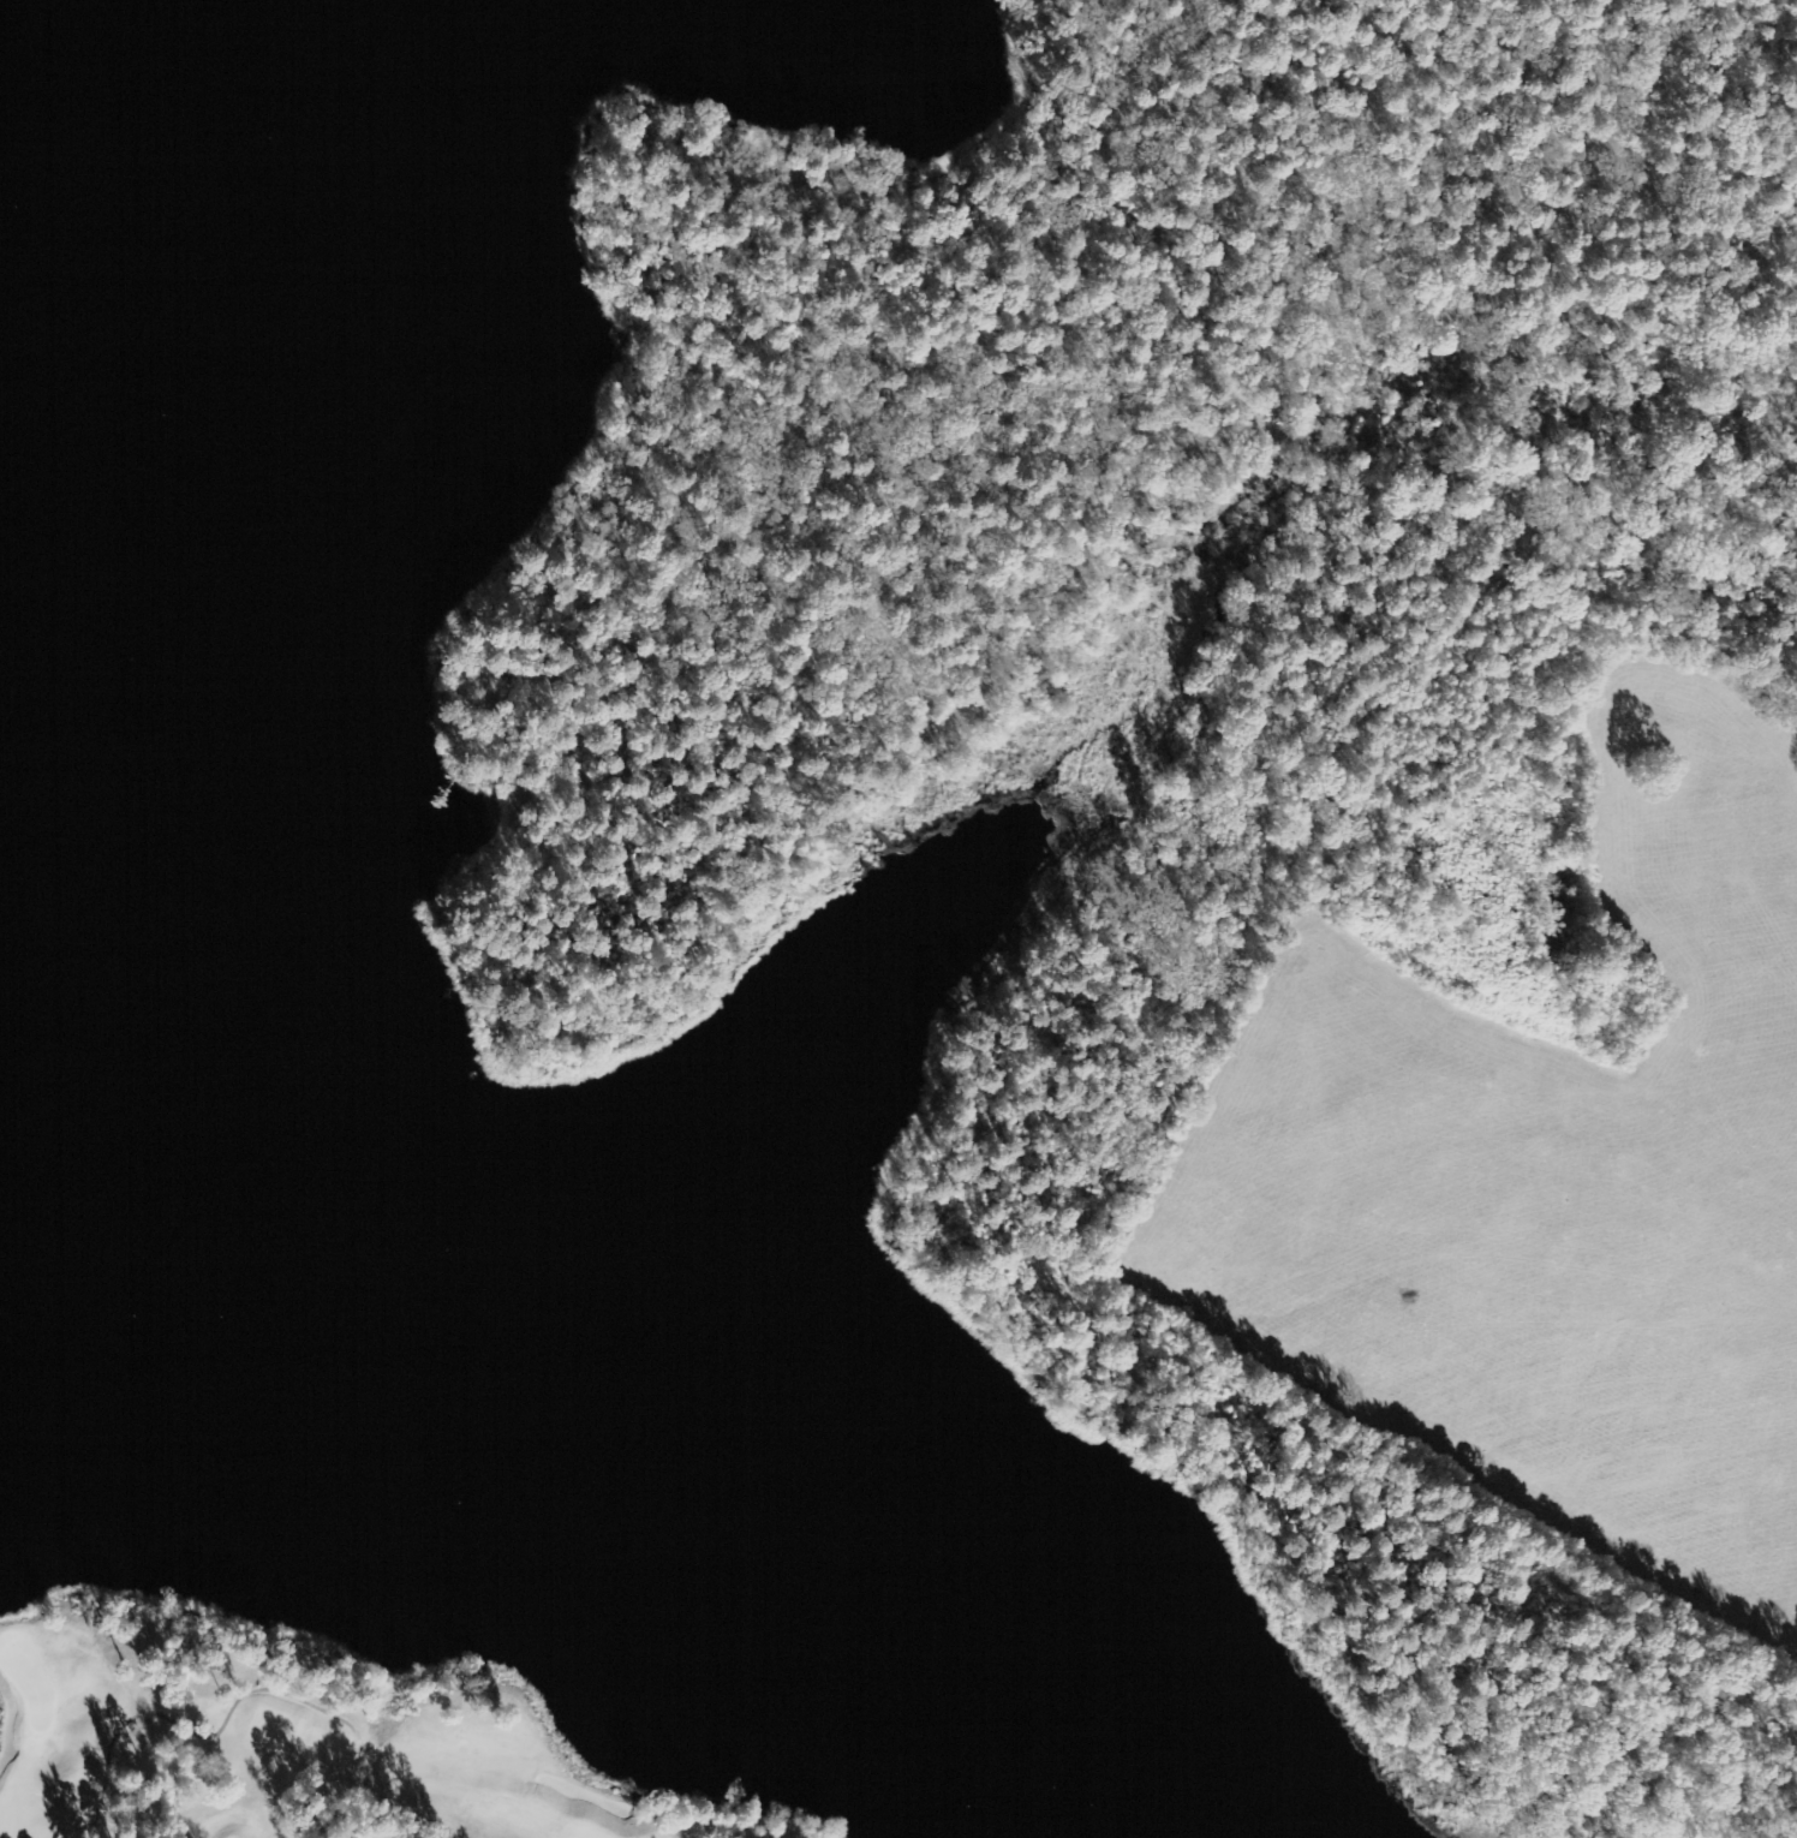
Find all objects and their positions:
airport runway: (1535, 1122)
airport: (1532, 1215)
park: (1278, 1609)
park: (24, 1677)
park: (294, 1738)

